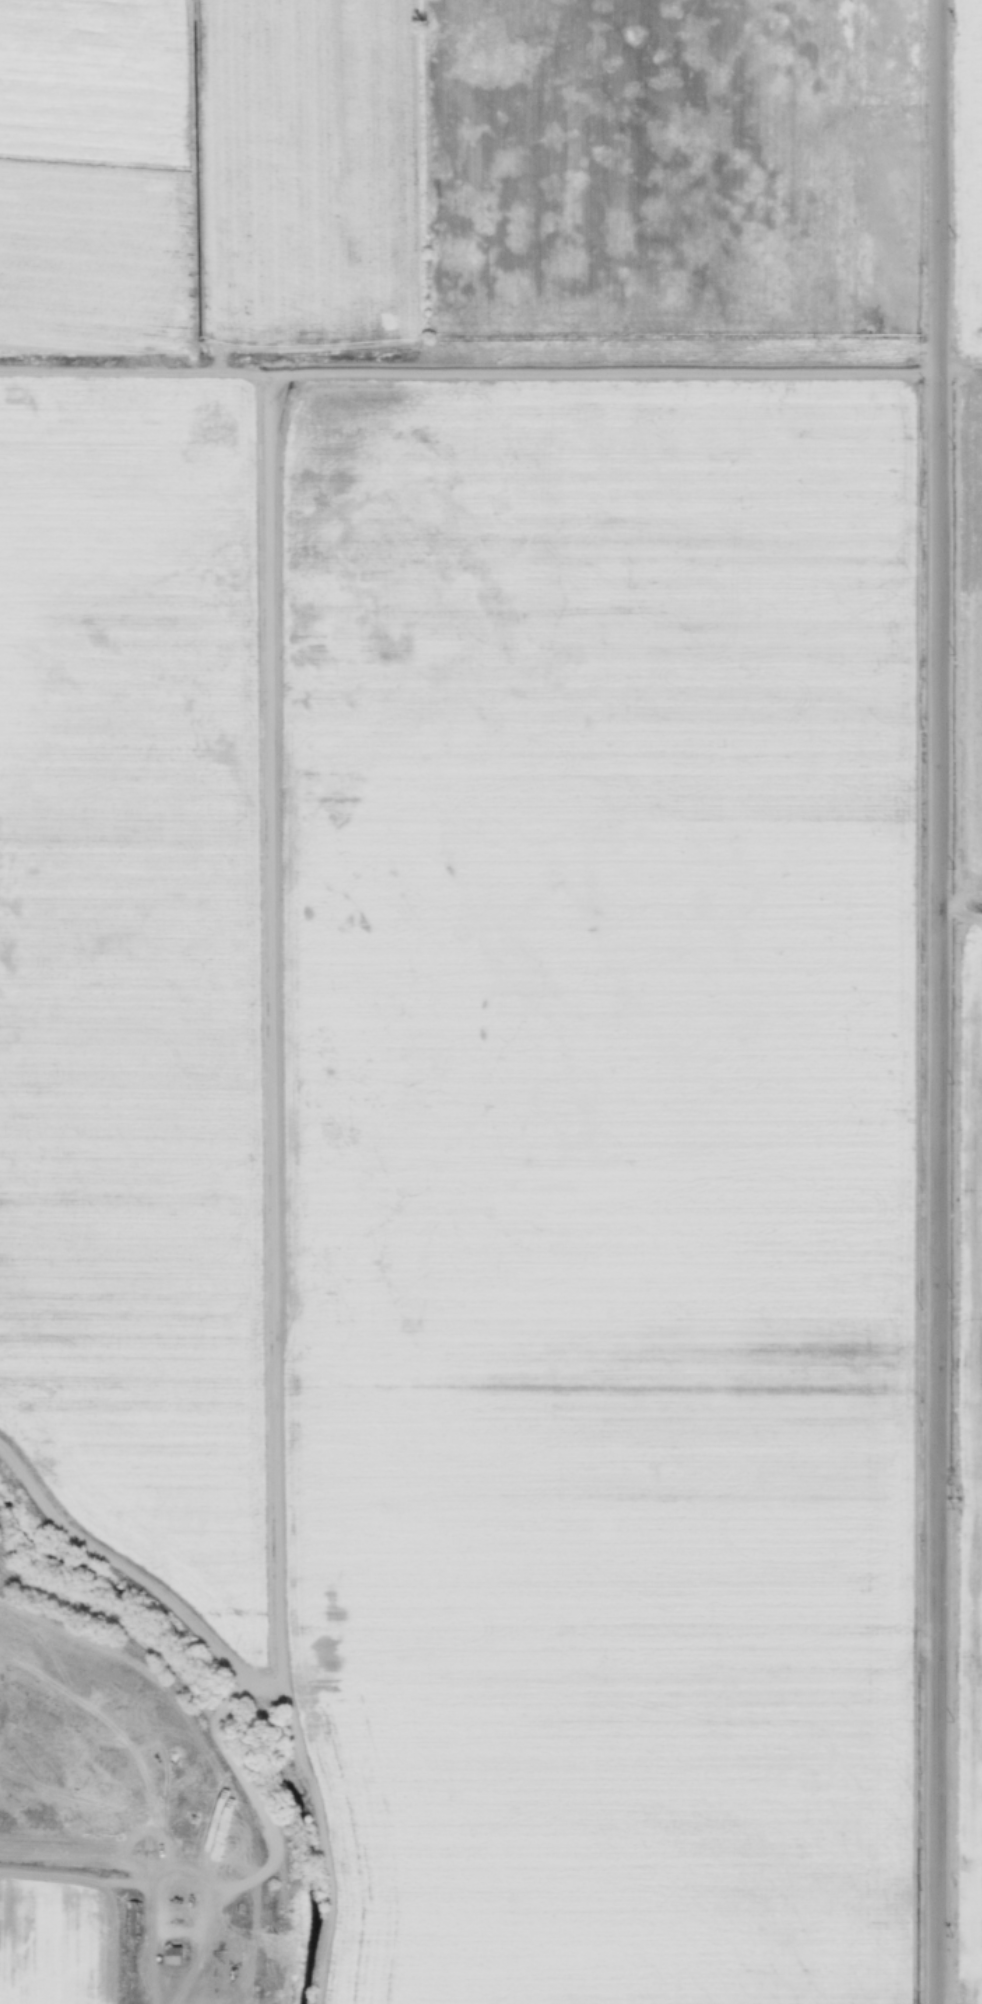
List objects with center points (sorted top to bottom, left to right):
road: (962, 357)
road: (961, 905)
road: (938, 1001)
building: (76, 1764)
building: (132, 1917)
building: (172, 1954)
building: (212, 1996)

